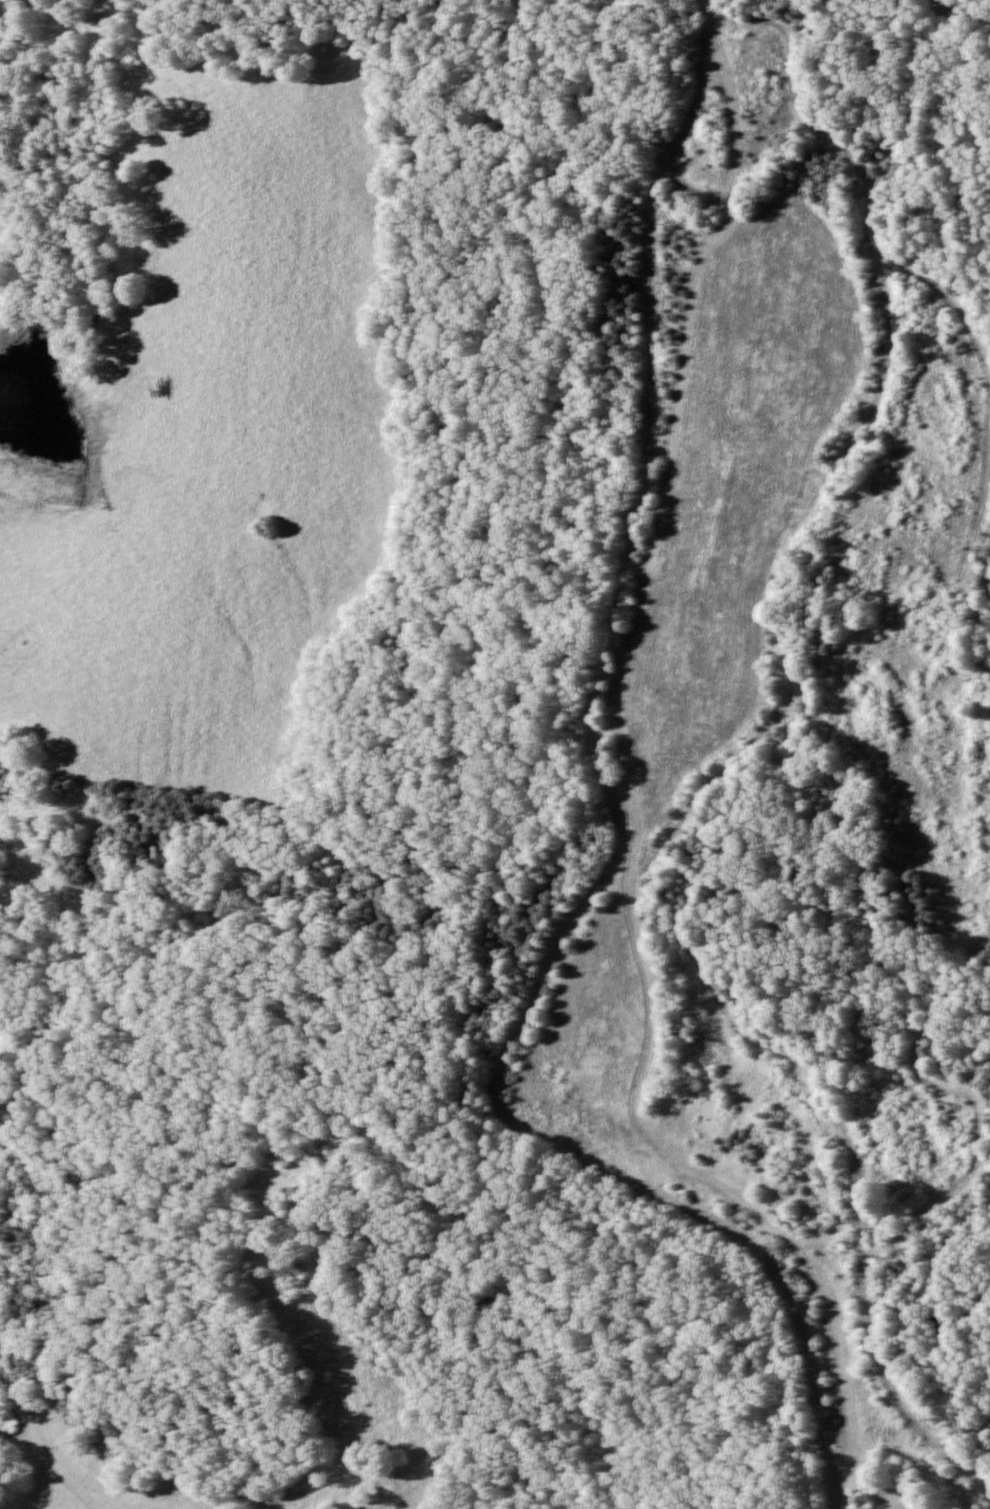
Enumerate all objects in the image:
road: (956, 10)

